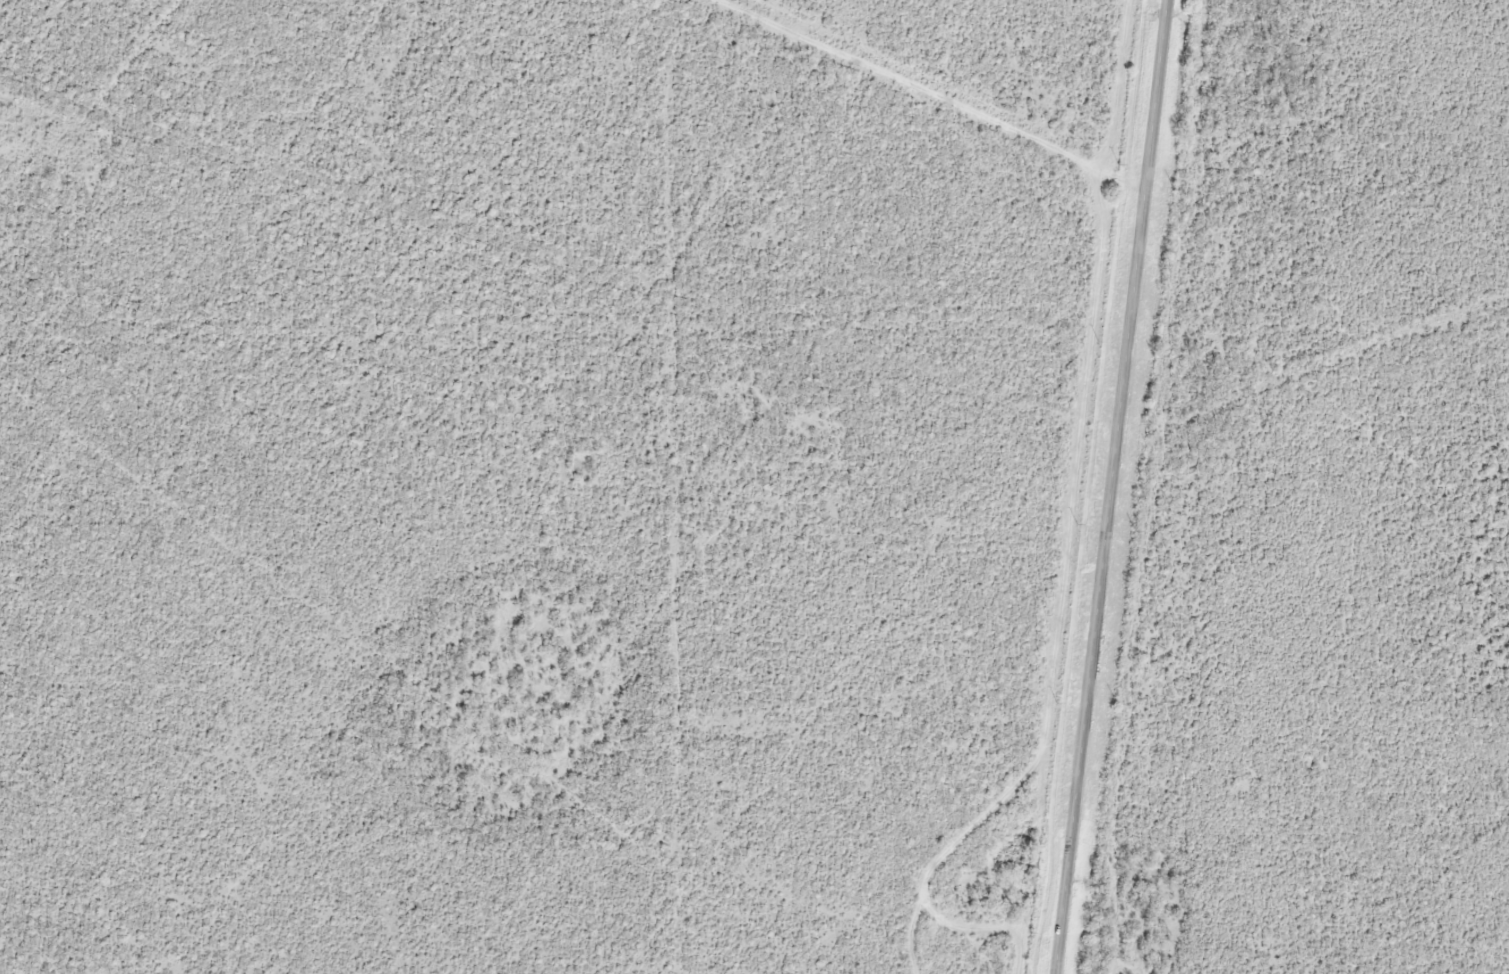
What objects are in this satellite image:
road: (1322, 376)
road: (1123, 487)

